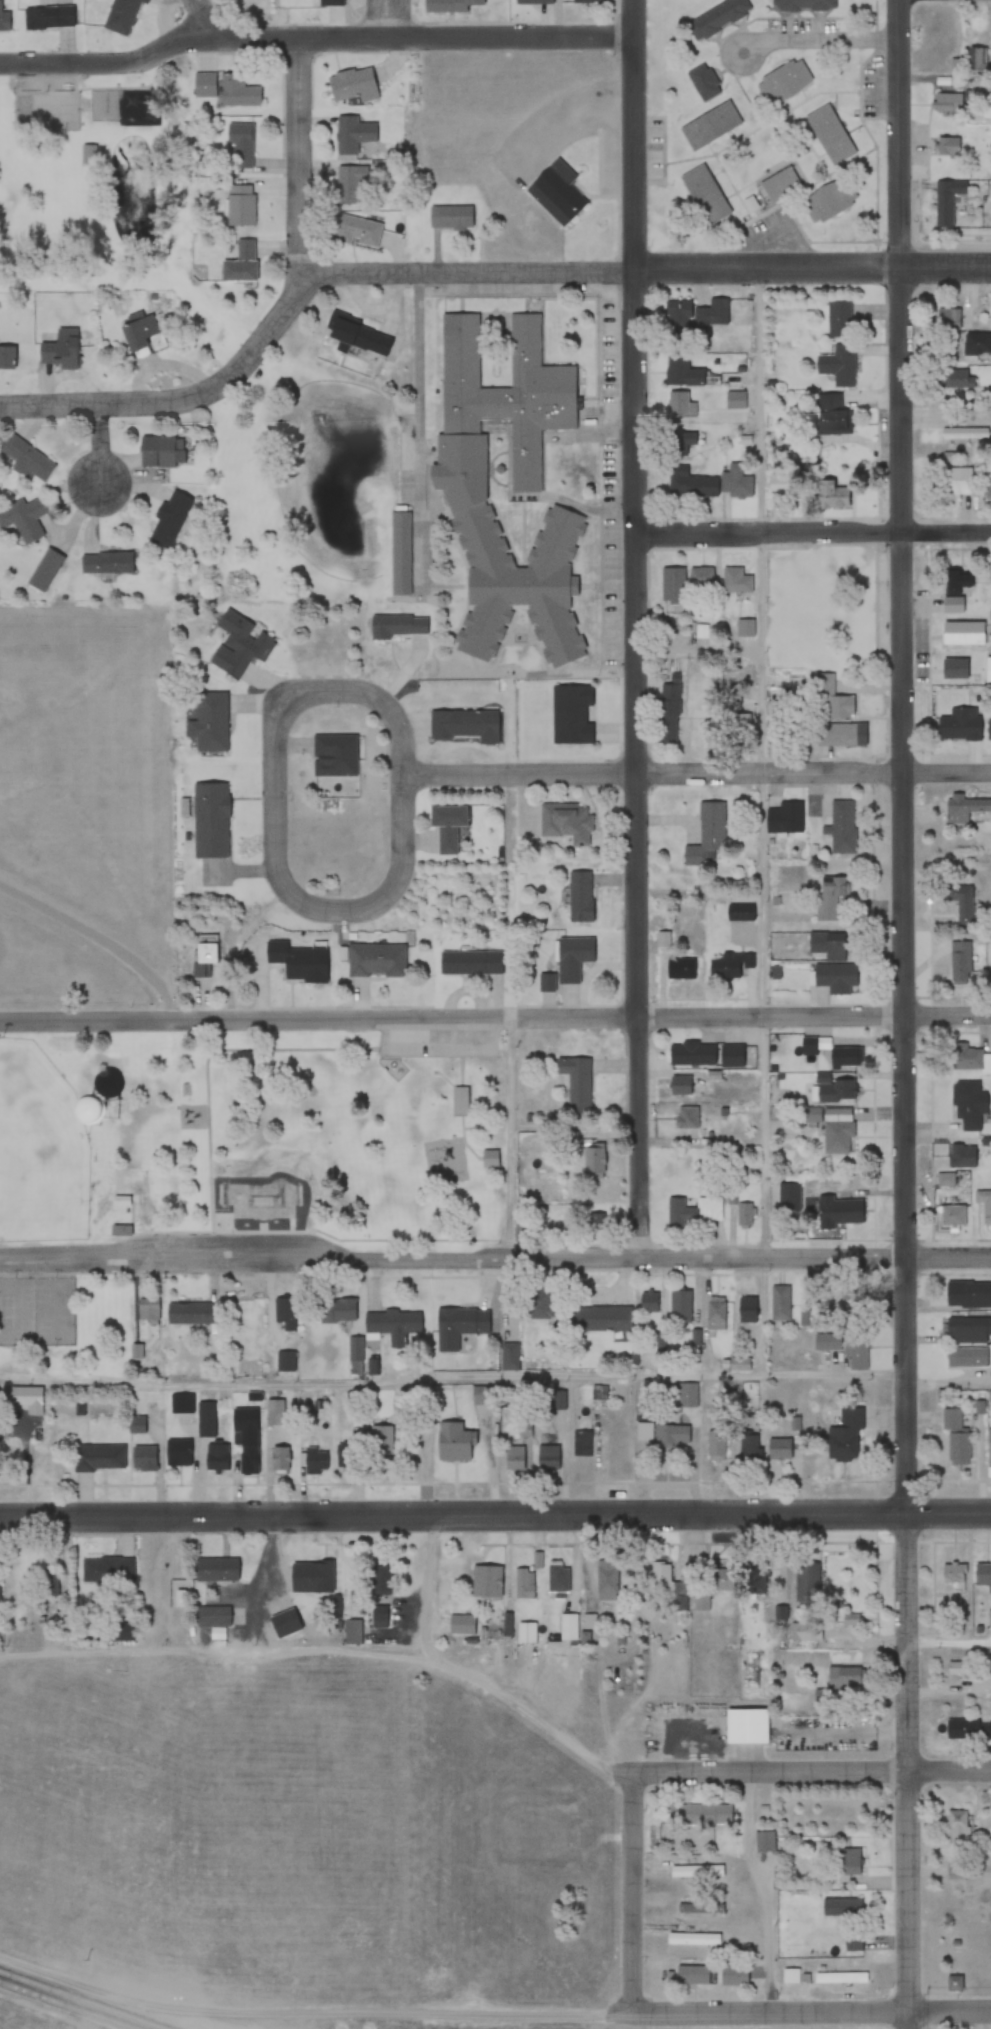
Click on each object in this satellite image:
building: (535, 1)
building: (583, 2)
building: (330, 3)
building: (804, 5)
building: (452, 6)
building: (3, 16)
building: (121, 16)
building: (717, 17)
building: (48, 18)
road: (198, 19)
road: (390, 19)
road: (823, 38)
road: (314, 39)
building: (978, 62)
building: (783, 82)
building: (703, 83)
building: (204, 85)
building: (352, 85)
building: (238, 92)
building: (948, 103)
building: (709, 126)
building: (830, 134)
building: (352, 135)
building: (239, 146)
building: (951, 146)
building: (89, 154)
road: (299, 155)
park: (79, 182)
building: (350, 184)
building: (780, 185)
building: (556, 193)
building: (704, 194)
building: (829, 201)
building: (948, 202)
building: (239, 206)
building: (450, 218)
building: (356, 231)
building: (240, 264)
road: (646, 268)
building: (712, 312)
building: (676, 314)
building: (839, 318)
building: (947, 319)
building: (491, 330)
building: (136, 333)
building: (355, 335)
building: (976, 346)
building: (59, 355)
building: (7, 358)
building: (837, 363)
building: (680, 371)
building: (956, 379)
road: (183, 398)
building: (679, 404)
building: (830, 413)
building: (964, 433)
building: (679, 442)
road: (99, 445)
building: (161, 452)
building: (25, 458)
building: (470, 477)
building: (736, 481)
building: (688, 482)
building: (953, 484)
building: (988, 489)
building: (830, 493)
building: (168, 519)
building: (26, 522)
road: (811, 533)
building: (398, 553)
building: (105, 562)
building: (700, 577)
building: (957, 581)
building: (737, 582)
building: (671, 583)
building: (396, 626)
road: (634, 628)
building: (745, 628)
building: (961, 632)
building: (239, 645)
building: (954, 667)
building: (987, 670)
building: (831, 698)
building: (667, 713)
building: (571, 715)
building: (209, 723)
building: (739, 724)
building: (959, 725)
building: (464, 726)
building: (988, 731)
building: (832, 735)
building: (334, 756)
road: (764, 761)
road: (698, 772)
road: (276, 781)
building: (963, 808)
building: (784, 818)
building: (210, 819)
building: (566, 822)
building: (447, 827)
building: (840, 827)
building: (707, 832)
building: (579, 897)
building: (831, 897)
building: (961, 904)
building: (740, 913)
road: (103, 935)
building: (827, 946)
building: (204, 953)
building: (572, 957)
building: (377, 960)
building: (297, 961)
building: (465, 962)
building: (959, 963)
building: (990, 964)
building: (730, 966)
building: (680, 968)
building: (834, 978)
building: (546, 982)
road: (903, 1014)
road: (495, 1020)
parking lot: (441, 1044)
building: (690, 1054)
building: (842, 1057)
building: (968, 1059)
building: (575, 1082)
building: (681, 1085)
building: (835, 1090)
building: (462, 1099)
building: (967, 1104)
water tower: (100, 1109)
building: (811, 1115)
building: (686, 1118)
park: (356, 1134)
building: (836, 1137)
road: (513, 1138)
building: (962, 1156)
building: (489, 1158)
building: (594, 1162)
building: (945, 1180)
park: (89, 1181)
building: (788, 1197)
park: (258, 1203)
building: (984, 1204)
building: (695, 1211)
building: (743, 1211)
building: (838, 1211)
building: (953, 1216)
building: (599, 1220)
building: (119, 1230)
road: (495, 1255)
building: (967, 1294)
building: (848, 1300)
building: (650, 1302)
building: (538, 1305)
building: (780, 1306)
building: (679, 1308)
building: (747, 1309)
park: (33, 1310)
building: (147, 1310)
building: (284, 1312)
building: (717, 1312)
building: (185, 1313)
building: (601, 1319)
building: (462, 1321)
building: (364, 1325)
building: (967, 1331)
building: (828, 1342)
building: (136, 1352)
building: (858, 1352)
building: (509, 1356)
building: (966, 1357)
building: (284, 1361)
building: (741, 1364)
road: (494, 1381)
building: (989, 1396)
building: (688, 1397)
building: (10, 1399)
building: (557, 1400)
building: (181, 1404)
building: (273, 1412)
building: (950, 1419)
building: (204, 1420)
building: (134, 1425)
building: (664, 1434)
building: (245, 1438)
building: (847, 1438)
building: (379, 1441)
building: (583, 1442)
building: (452, 1443)
building: (717, 1446)
building: (988, 1447)
building: (749, 1449)
building: (777, 1449)
building: (957, 1450)
building: (176, 1453)
building: (214, 1457)
building: (515, 1457)
building: (98, 1458)
building: (548, 1458)
building: (141, 1459)
building: (314, 1460)
building: (279, 1461)
road: (495, 1517)
building: (215, 1568)
building: (106, 1570)
building: (953, 1573)
building: (982, 1574)
building: (318, 1578)
building: (556, 1579)
building: (379, 1580)
building: (606, 1580)
building: (753, 1580)
building: (491, 1582)
building: (807, 1582)
building: (45, 1584)
building: (523, 1586)
building: (681, 1598)
building: (702, 1603)
building: (212, 1615)
building: (377, 1616)
building: (851, 1620)
building: (567, 1627)
building: (350, 1631)
building: (122, 1633)
building: (526, 1633)
building: (956, 1669)
road: (483, 1674)
building: (843, 1677)
building: (745, 1727)
building: (962, 1728)
building: (989, 1730)
road: (813, 1770)
building: (697, 1812)
building: (958, 1828)
building: (764, 1841)
building: (847, 1862)
building: (699, 1872)
road: (634, 1893)
building: (843, 1906)
building: (699, 1907)
building: (698, 1940)
building: (853, 1942)
building: (733, 1974)
building: (690, 1975)
building: (954, 1983)
railway: (81, 2000)
railway: (66, 2005)
road: (490, 2012)
road: (178, 2021)

